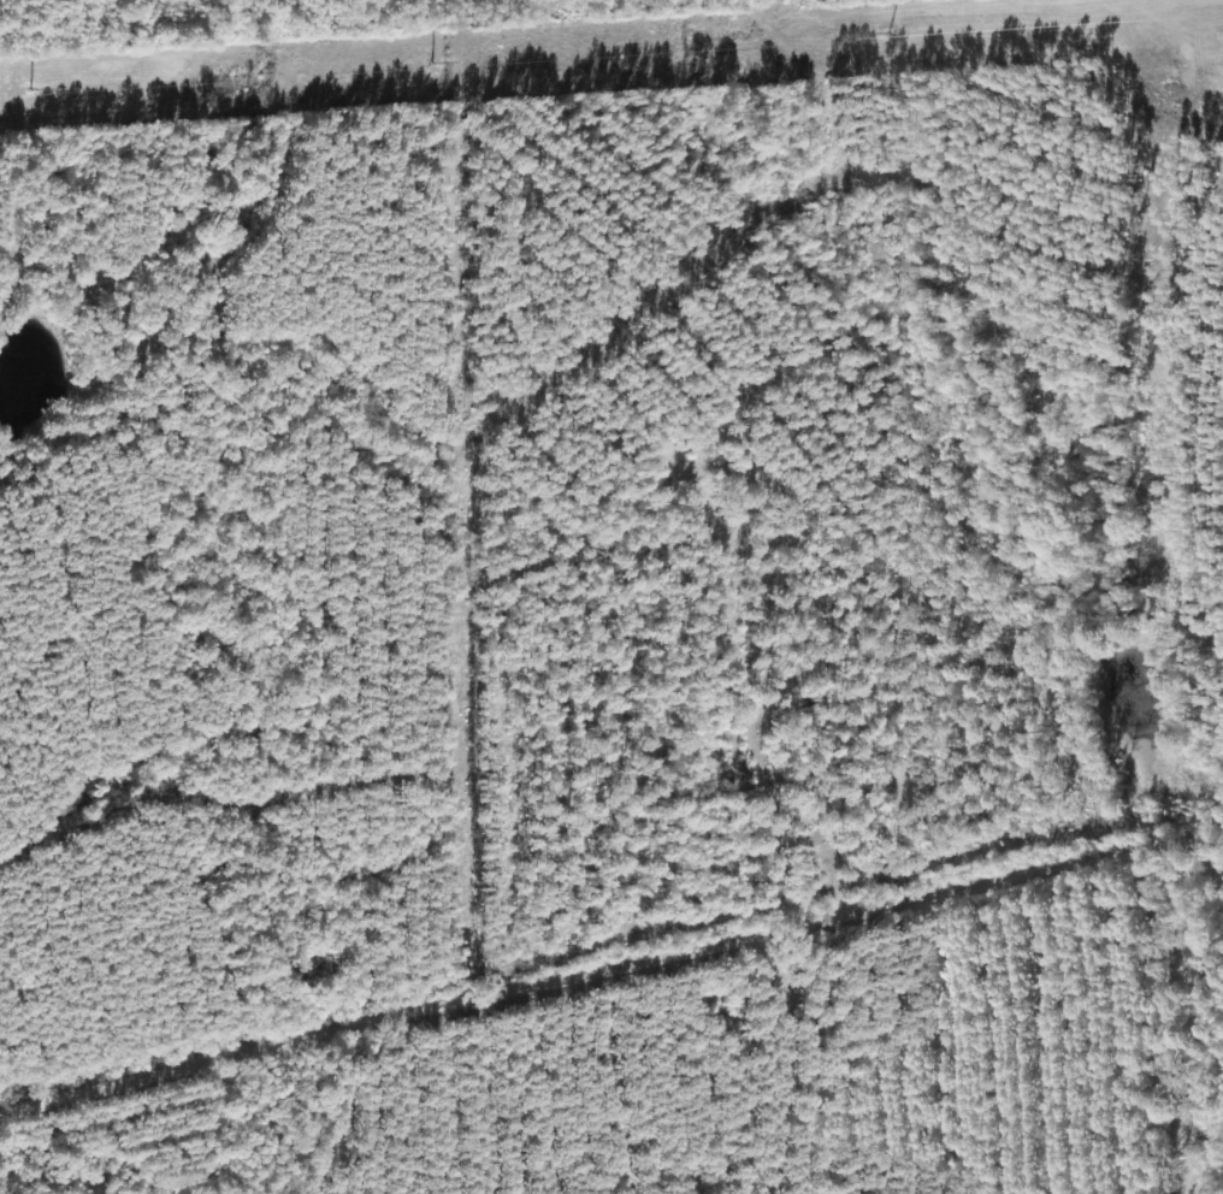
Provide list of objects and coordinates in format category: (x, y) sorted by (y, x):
power tower: (872, 40)
power tower: (442, 70)
power tower: (81, 91)
road: (609, 971)

